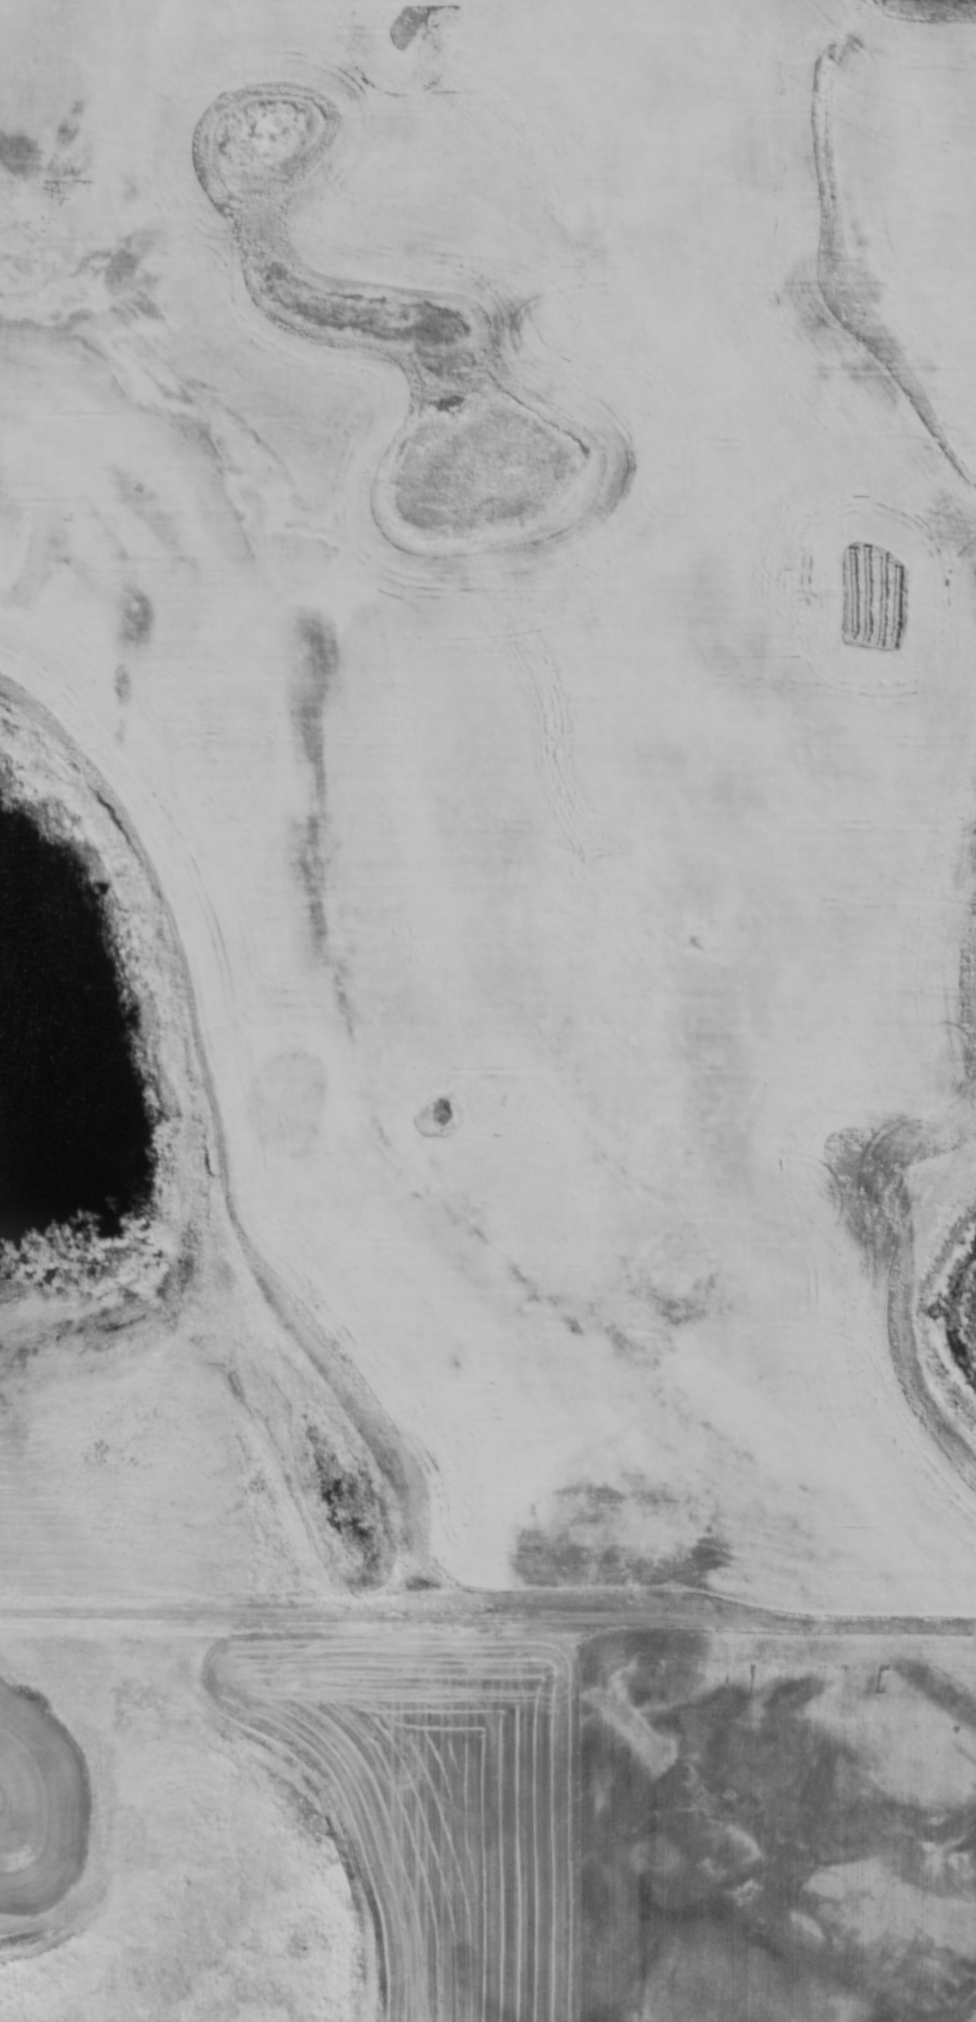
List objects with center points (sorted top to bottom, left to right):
road: (488, 1620)

